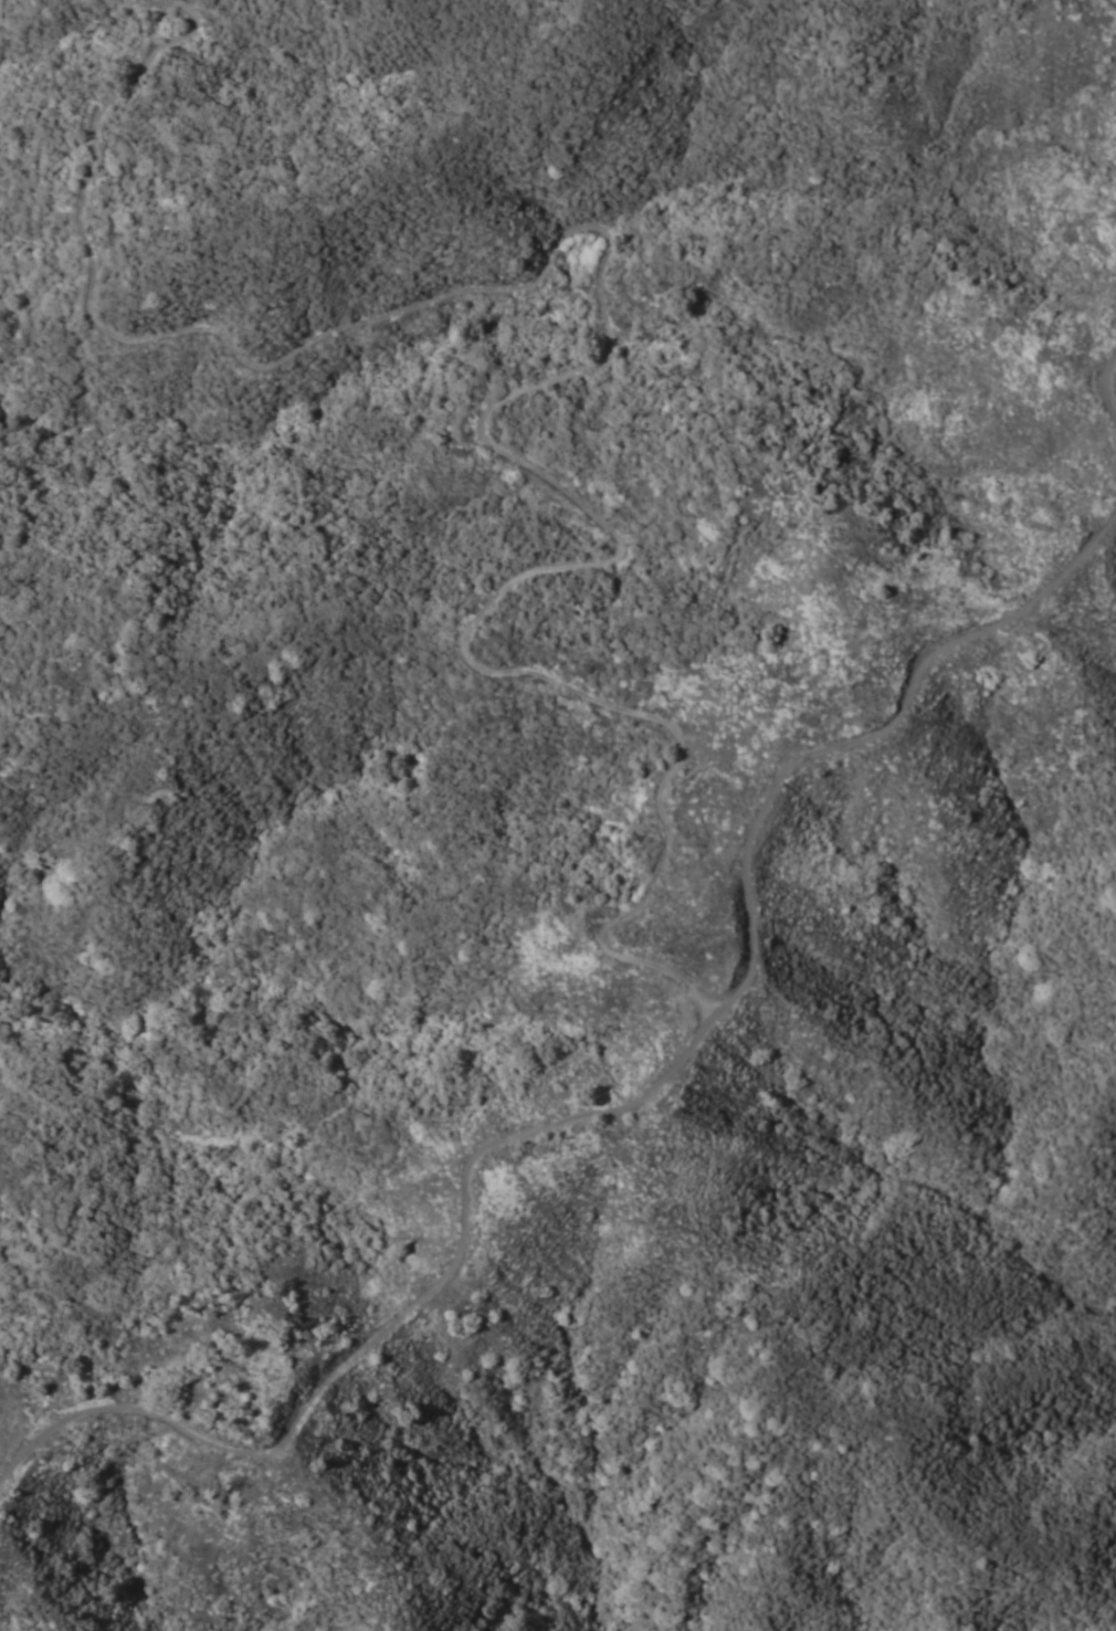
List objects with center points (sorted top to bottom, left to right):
road: (580, 369)
road: (1104, 381)
road: (619, 1107)

